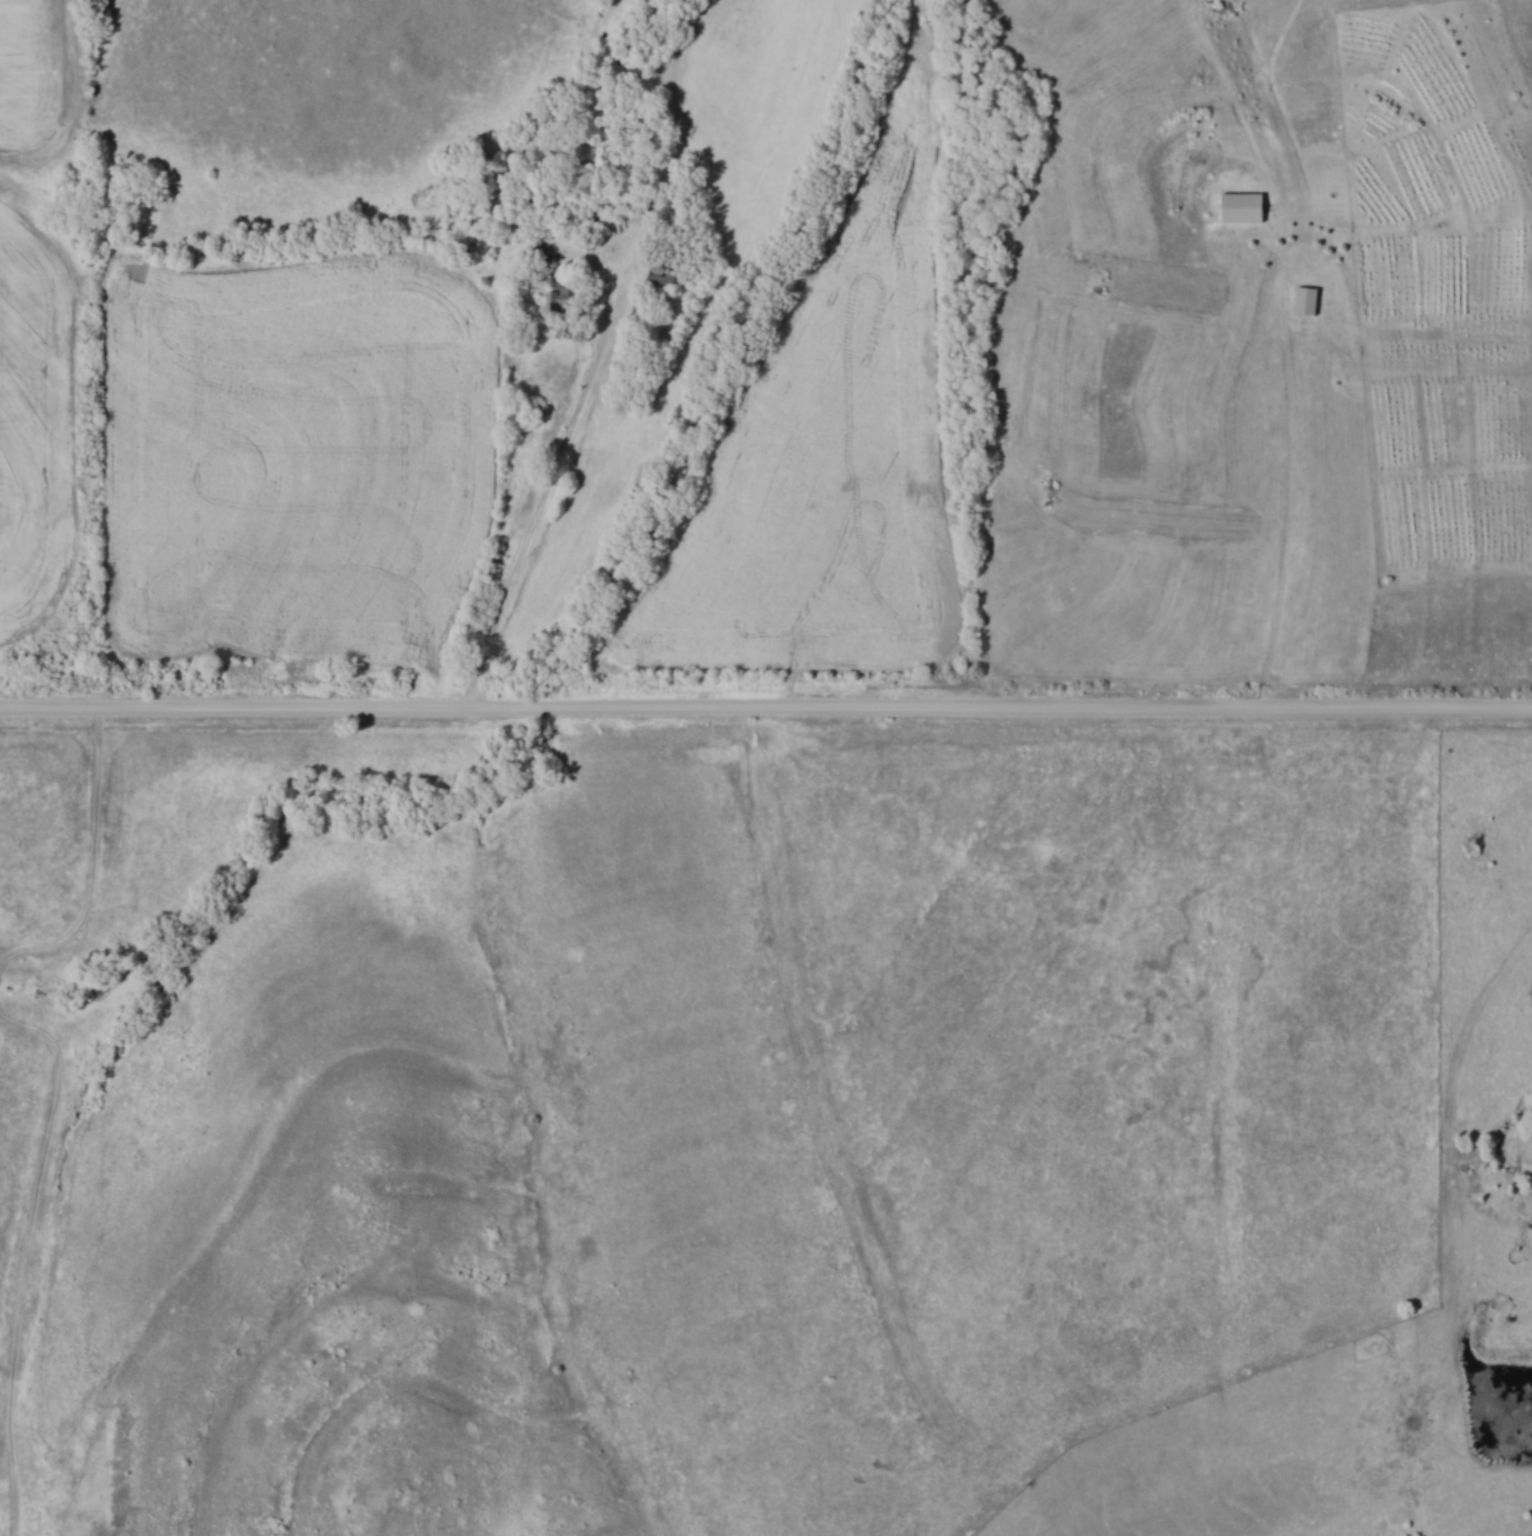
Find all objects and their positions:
building: (1244, 207)
building: (540, 252)
building: (666, 273)
building: (559, 295)
building: (1308, 300)
building: (638, 314)
road: (551, 485)
road: (766, 708)

